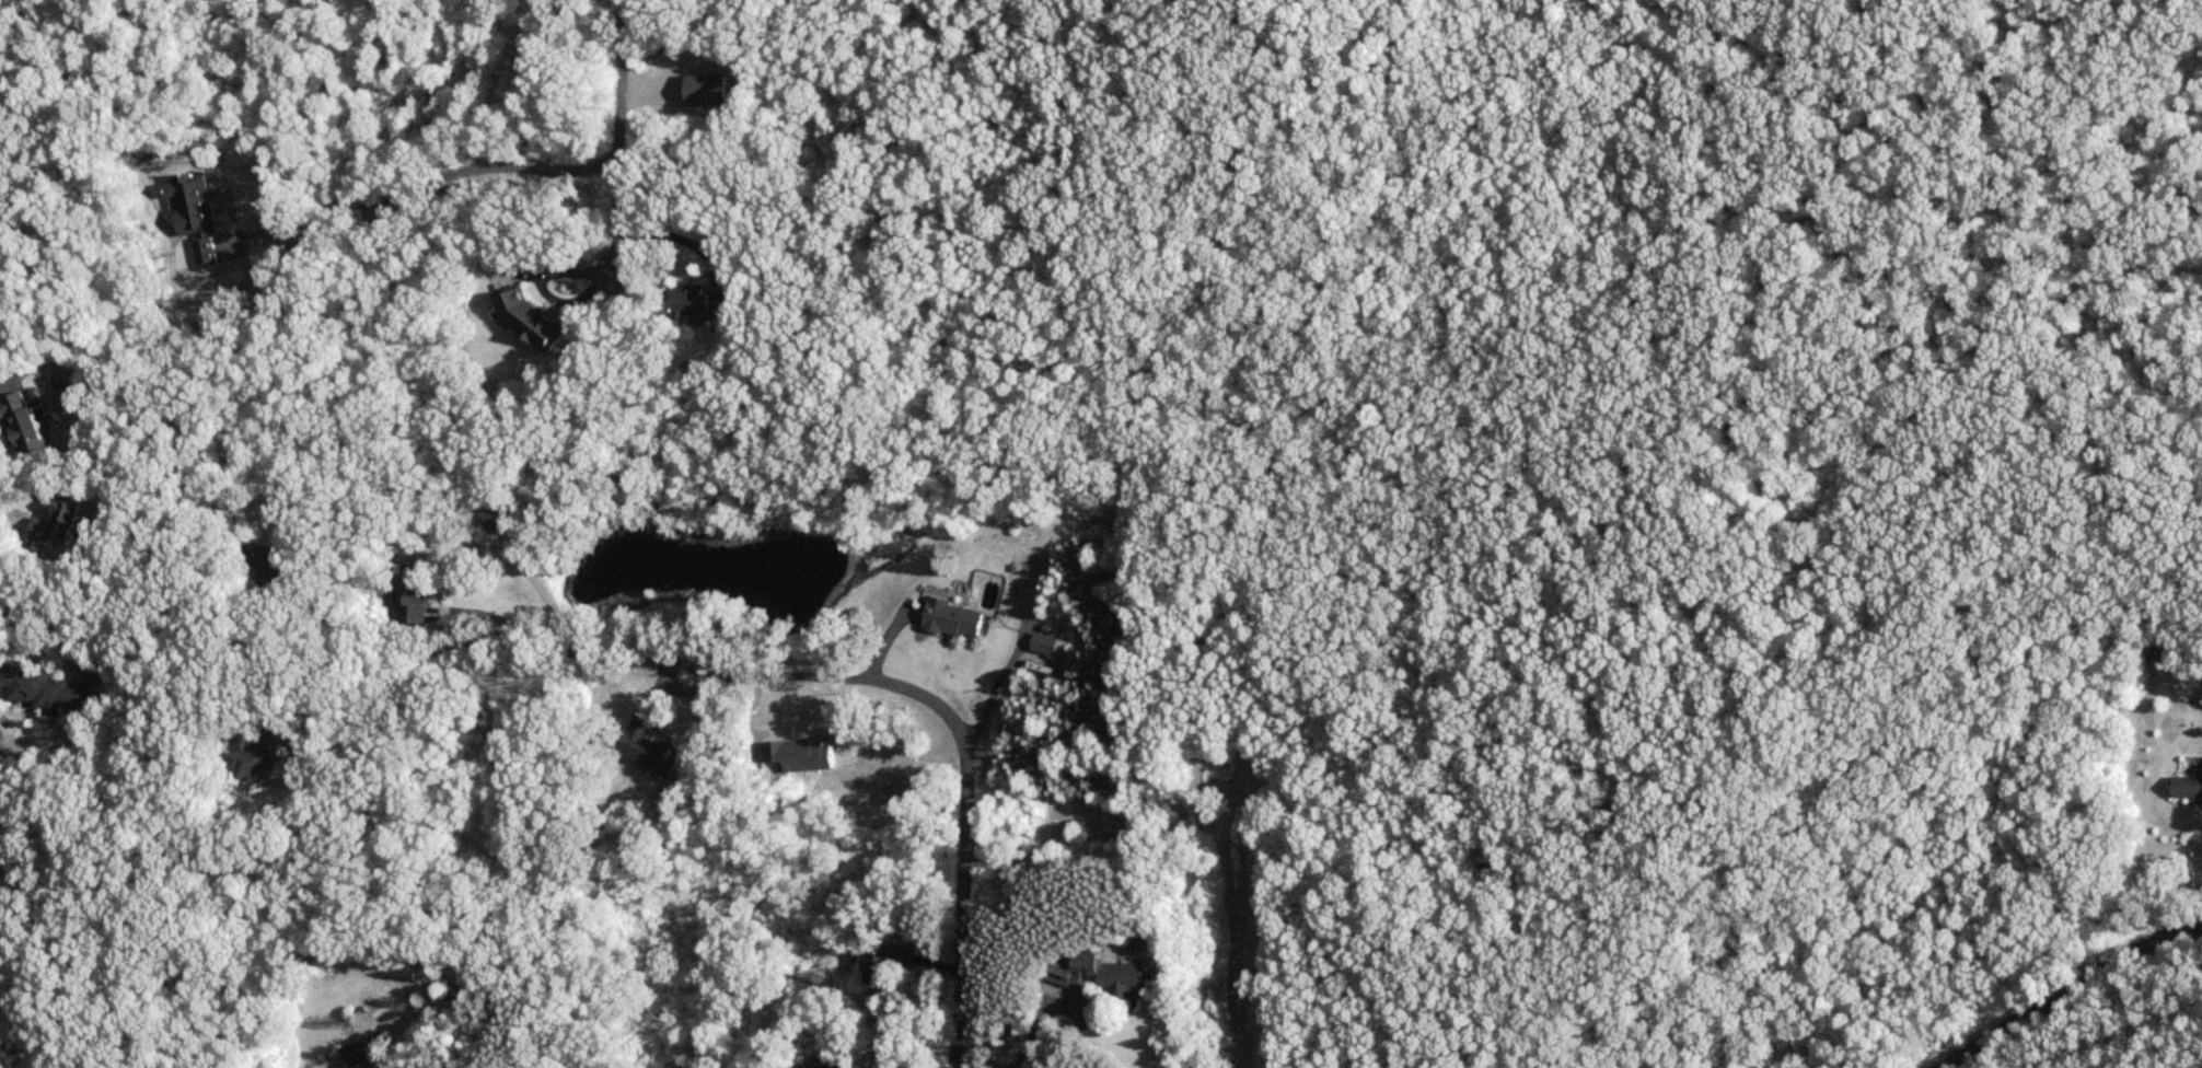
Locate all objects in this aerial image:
building: (703, 91)
road: (619, 133)
road: (429, 178)
building: (699, 303)
building: (525, 321)
road: (12, 378)
building: (27, 425)
building: (491, 519)
building: (58, 527)
building: (410, 594)
road: (549, 604)
building: (950, 620)
road: (367, 634)
road: (50, 635)
building: (1046, 646)
road: (560, 653)
building: (2153, 655)
road: (993, 683)
building: (44, 689)
road: (384, 699)
road: (960, 740)
building: (644, 747)
building: (244, 755)
building: (2188, 788)
building: (883, 965)
building: (1097, 976)
road: (2071, 989)
road: (1033, 1031)
building: (357, 1050)

